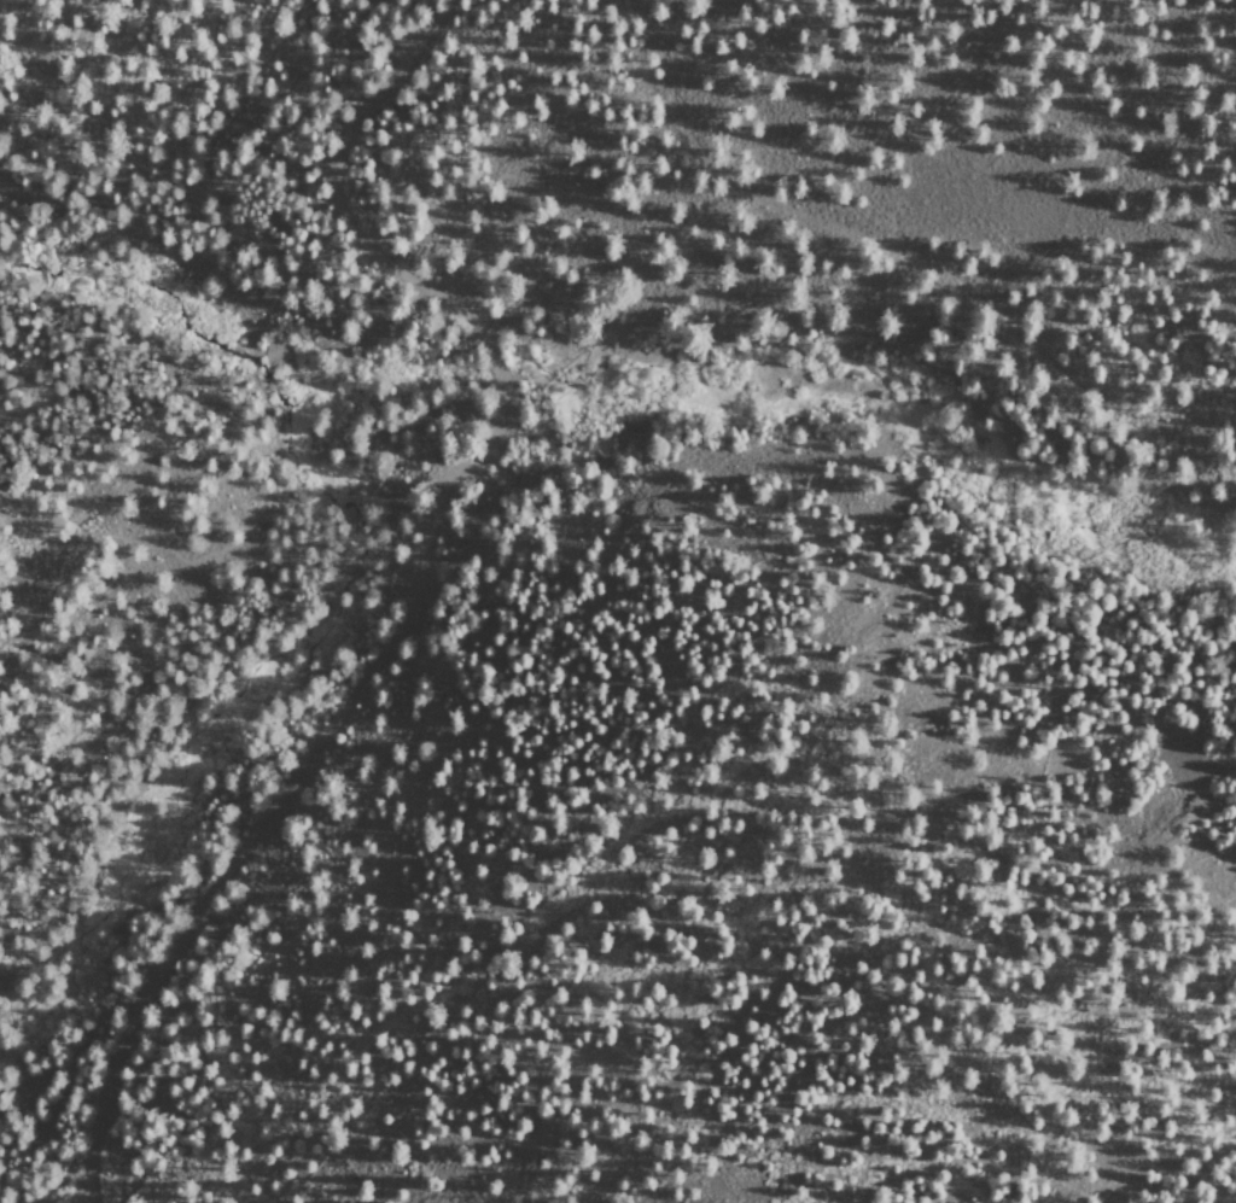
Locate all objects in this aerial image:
road: (95, 122)
road: (869, 305)
road: (279, 457)
road: (422, 578)
road: (140, 746)
road: (27, 1094)

